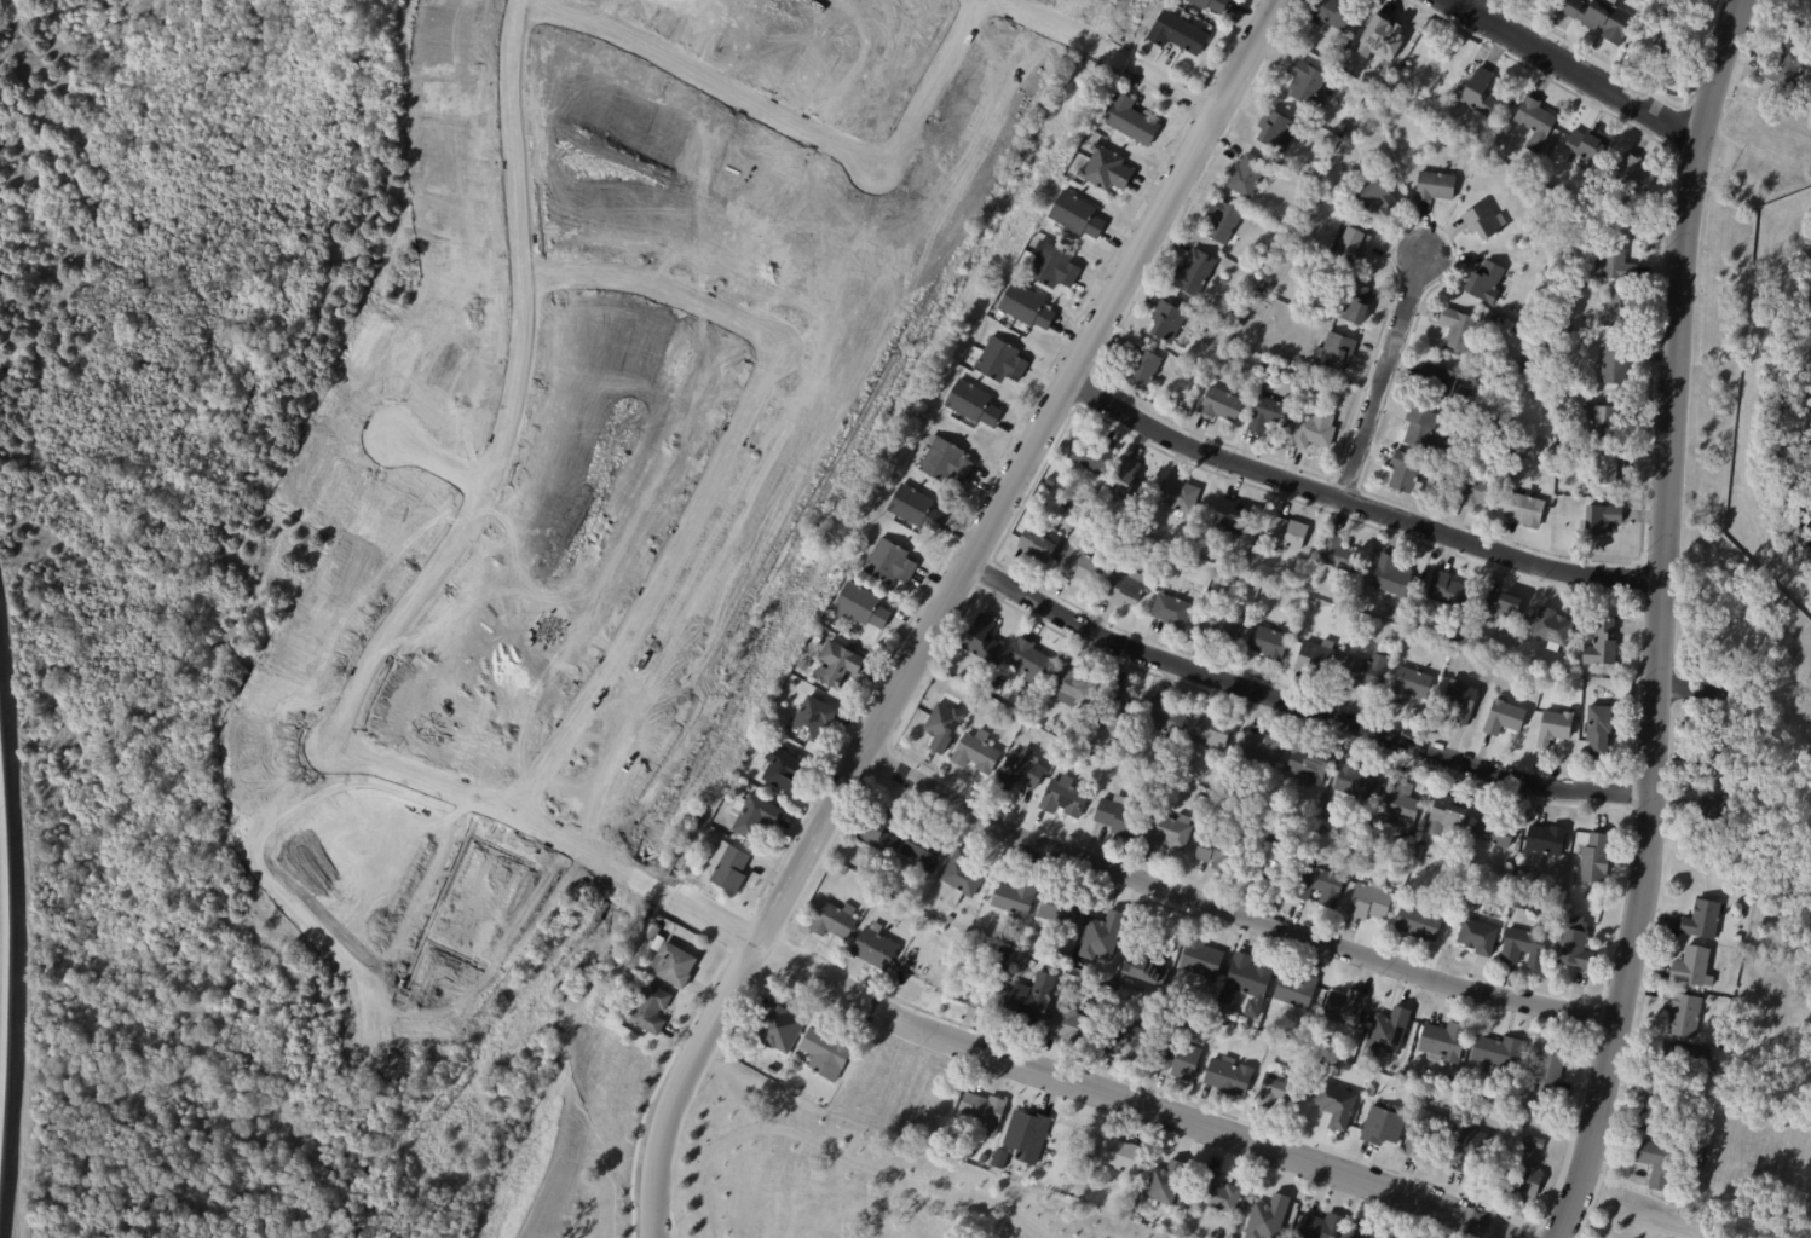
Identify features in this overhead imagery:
building: (1690, 0)
building: (1213, 4)
road: (1498, 4)
road: (1488, 8)
road: (1465, 10)
building: (1337, 13)
building: (1661, 15)
building: (1804, 15)
building: (1596, 17)
road: (1494, 27)
building: (1180, 33)
building: (1379, 37)
road: (1225, 45)
building: (1666, 47)
building: (1337, 48)
road: (1111, 54)
building: (1782, 66)
road: (703, 71)
road: (1588, 79)
road: (1636, 82)
road: (928, 83)
building: (1309, 85)
building: (1482, 92)
building: (1100, 97)
road: (1194, 100)
building: (1132, 120)
building: (1536, 122)
building: (1343, 126)
road: (1676, 127)
building: (1461, 129)
building: (1275, 131)
building: (1590, 145)
building: (1103, 168)
building: (1637, 174)
building: (1248, 175)
building: (1436, 186)
building: (1378, 198)
building: (1078, 215)
building: (1225, 221)
building: (1487, 221)
building: (1354, 245)
building: (1617, 264)
building: (1055, 267)
building: (1199, 272)
road: (654, 282)
building: (1487, 282)
building: (1578, 290)
building: (1353, 303)
building: (1027, 306)
building: (1620, 312)
building: (1167, 320)
building: (1461, 329)
building: (1186, 331)
building: (1338, 351)
building: (1576, 354)
road: (1402, 355)
building: (1003, 361)
building: (1533, 365)
building: (1615, 365)
building: (1142, 369)
building: (1516, 372)
building: (1189, 377)
road: (1379, 377)
building: (1300, 380)
building: (1446, 384)
building: (1323, 387)
road: (511, 391)
road: (1071, 403)
building: (974, 404)
building: (1223, 405)
building: (1271, 415)
building: (1607, 421)
building: (1420, 429)
building: (1316, 430)
building: (1548, 434)
road: (1140, 440)
building: (1091, 456)
road: (438, 462)
building: (947, 462)
building: (1615, 469)
building: (1407, 472)
building: (1443, 473)
building: (1130, 482)
road: (1344, 484)
building: (1478, 492)
building: (1181, 497)
road: (1354, 504)
building: (916, 508)
building: (1525, 509)
building: (1072, 510)
building: (1233, 519)
building: (1608, 520)
building: (1286, 536)
building: (1042, 546)
road: (947, 548)
building: (1340, 555)
building: (892, 563)
building: (1079, 565)
road: (984, 573)
building: (1392, 577)
building: (1222, 578)
road: (1637, 578)
road: (657, 580)
building: (1125, 589)
building: (1449, 592)
building: (1313, 604)
building: (863, 607)
road: (940, 611)
building: (1505, 611)
building: (1173, 612)
building: (1400, 617)
road: (1659, 620)
building: (1223, 624)
building: (1552, 629)
building: (1412, 638)
building: (984, 640)
building: (819, 641)
building: (1269, 641)
building: (1603, 644)
building: (1454, 656)
building: (1029, 660)
building: (1316, 660)
building: (840, 664)
building: (804, 666)
building: (1365, 672)
building: (1413, 684)
building: (1072, 688)
road: (1691, 689)
building: (1463, 701)
road: (1299, 706)
building: (1115, 711)
building: (1505, 718)
building: (814, 719)
building: (1166, 719)
building: (1010, 721)
building: (772, 723)
building: (944, 728)
building: (1556, 728)
building: (1601, 730)
building: (1216, 734)
road: (1342, 737)
building: (1054, 746)
building: (1263, 750)
building: (1109, 752)
building: (979, 753)
building: (1121, 756)
building: (1092, 760)
building: (1713, 762)
building: (1310, 768)
building: (784, 770)
building: (1021, 771)
building: (1737, 773)
building: (1167, 782)
building: (1357, 785)
building: (1229, 794)
road: (1626, 796)
building: (1065, 798)
building: (1202, 802)
building: (1402, 806)
building: (1198, 811)
building: (1715, 814)
building: (752, 816)
building: (1118, 817)
building: (1448, 820)
building: (721, 822)
building: (884, 831)
building: (1496, 831)
building: (1169, 833)
building: (1746, 837)
building: (1371, 838)
building: (1548, 841)
building: (925, 849)
building: (1417, 851)
building: (1218, 855)
building: (1752, 856)
building: (1597, 861)
building: (1270, 862)
building: (728, 867)
building: (842, 870)
building: (963, 877)
building: (1521, 878)
building: (1460, 883)
building: (887, 884)
building: (1321, 889)
building: (887, 896)
building: (1017, 898)
building: (1532, 899)
building: (1373, 901)
building: (1522, 903)
road: (1228, 910)
building: (1741, 913)
building: (1060, 914)
building: (1700, 919)
building: (836, 921)
road: (766, 925)
building: (1421, 925)
building: (653, 933)
road: (737, 935)
building: (1102, 936)
building: (1737, 938)
building: (1478, 939)
building: (1017, 942)
building: (1579, 947)
building: (877, 949)
building: (1525, 949)
building: (1202, 962)
building: (1022, 964)
building: (1007, 965)
building: (1033, 965)
building: (675, 967)
building: (1690, 967)
building: (1247, 984)
building: (1729, 987)
building: (1105, 989)
building: (1298, 994)
building: (1032, 1002)
building: (1346, 1008)
building: (652, 1011)
building: (1680, 1013)
road: (1594, 1014)
building: (1233, 1018)
building: (1244, 1022)
road: (901, 1024)
building: (782, 1026)
building: (1074, 1028)
building: (1386, 1030)
building: (1130, 1042)
building: (1444, 1045)
building: (1498, 1054)
building: (827, 1055)
building: (1181, 1060)
building: (1684, 1063)
building: (1553, 1069)
building: (1230, 1077)
building: (1440, 1082)
road: (654, 1088)
building: (1279, 1092)
building: (1337, 1104)
building: (986, 1113)
building: (1655, 1113)
road: (1255, 1123)
building: (1385, 1127)
building: (1428, 1134)
building: (1028, 1138)
building: (1535, 1142)
road: (682, 1147)
building: (1471, 1150)
building: (1521, 1150)
road: (834, 1155)
building: (1126, 1158)
park: (734, 1159)
building: (1002, 1161)
building: (1655, 1162)
building: (1695, 1165)
building: (1522, 1180)
building: (1164, 1182)
building: (1219, 1196)
park: (1644, 1216)
building: (1267, 1217)
building: (1322, 1227)
building: (1373, 1232)
road: (1534, 1232)

